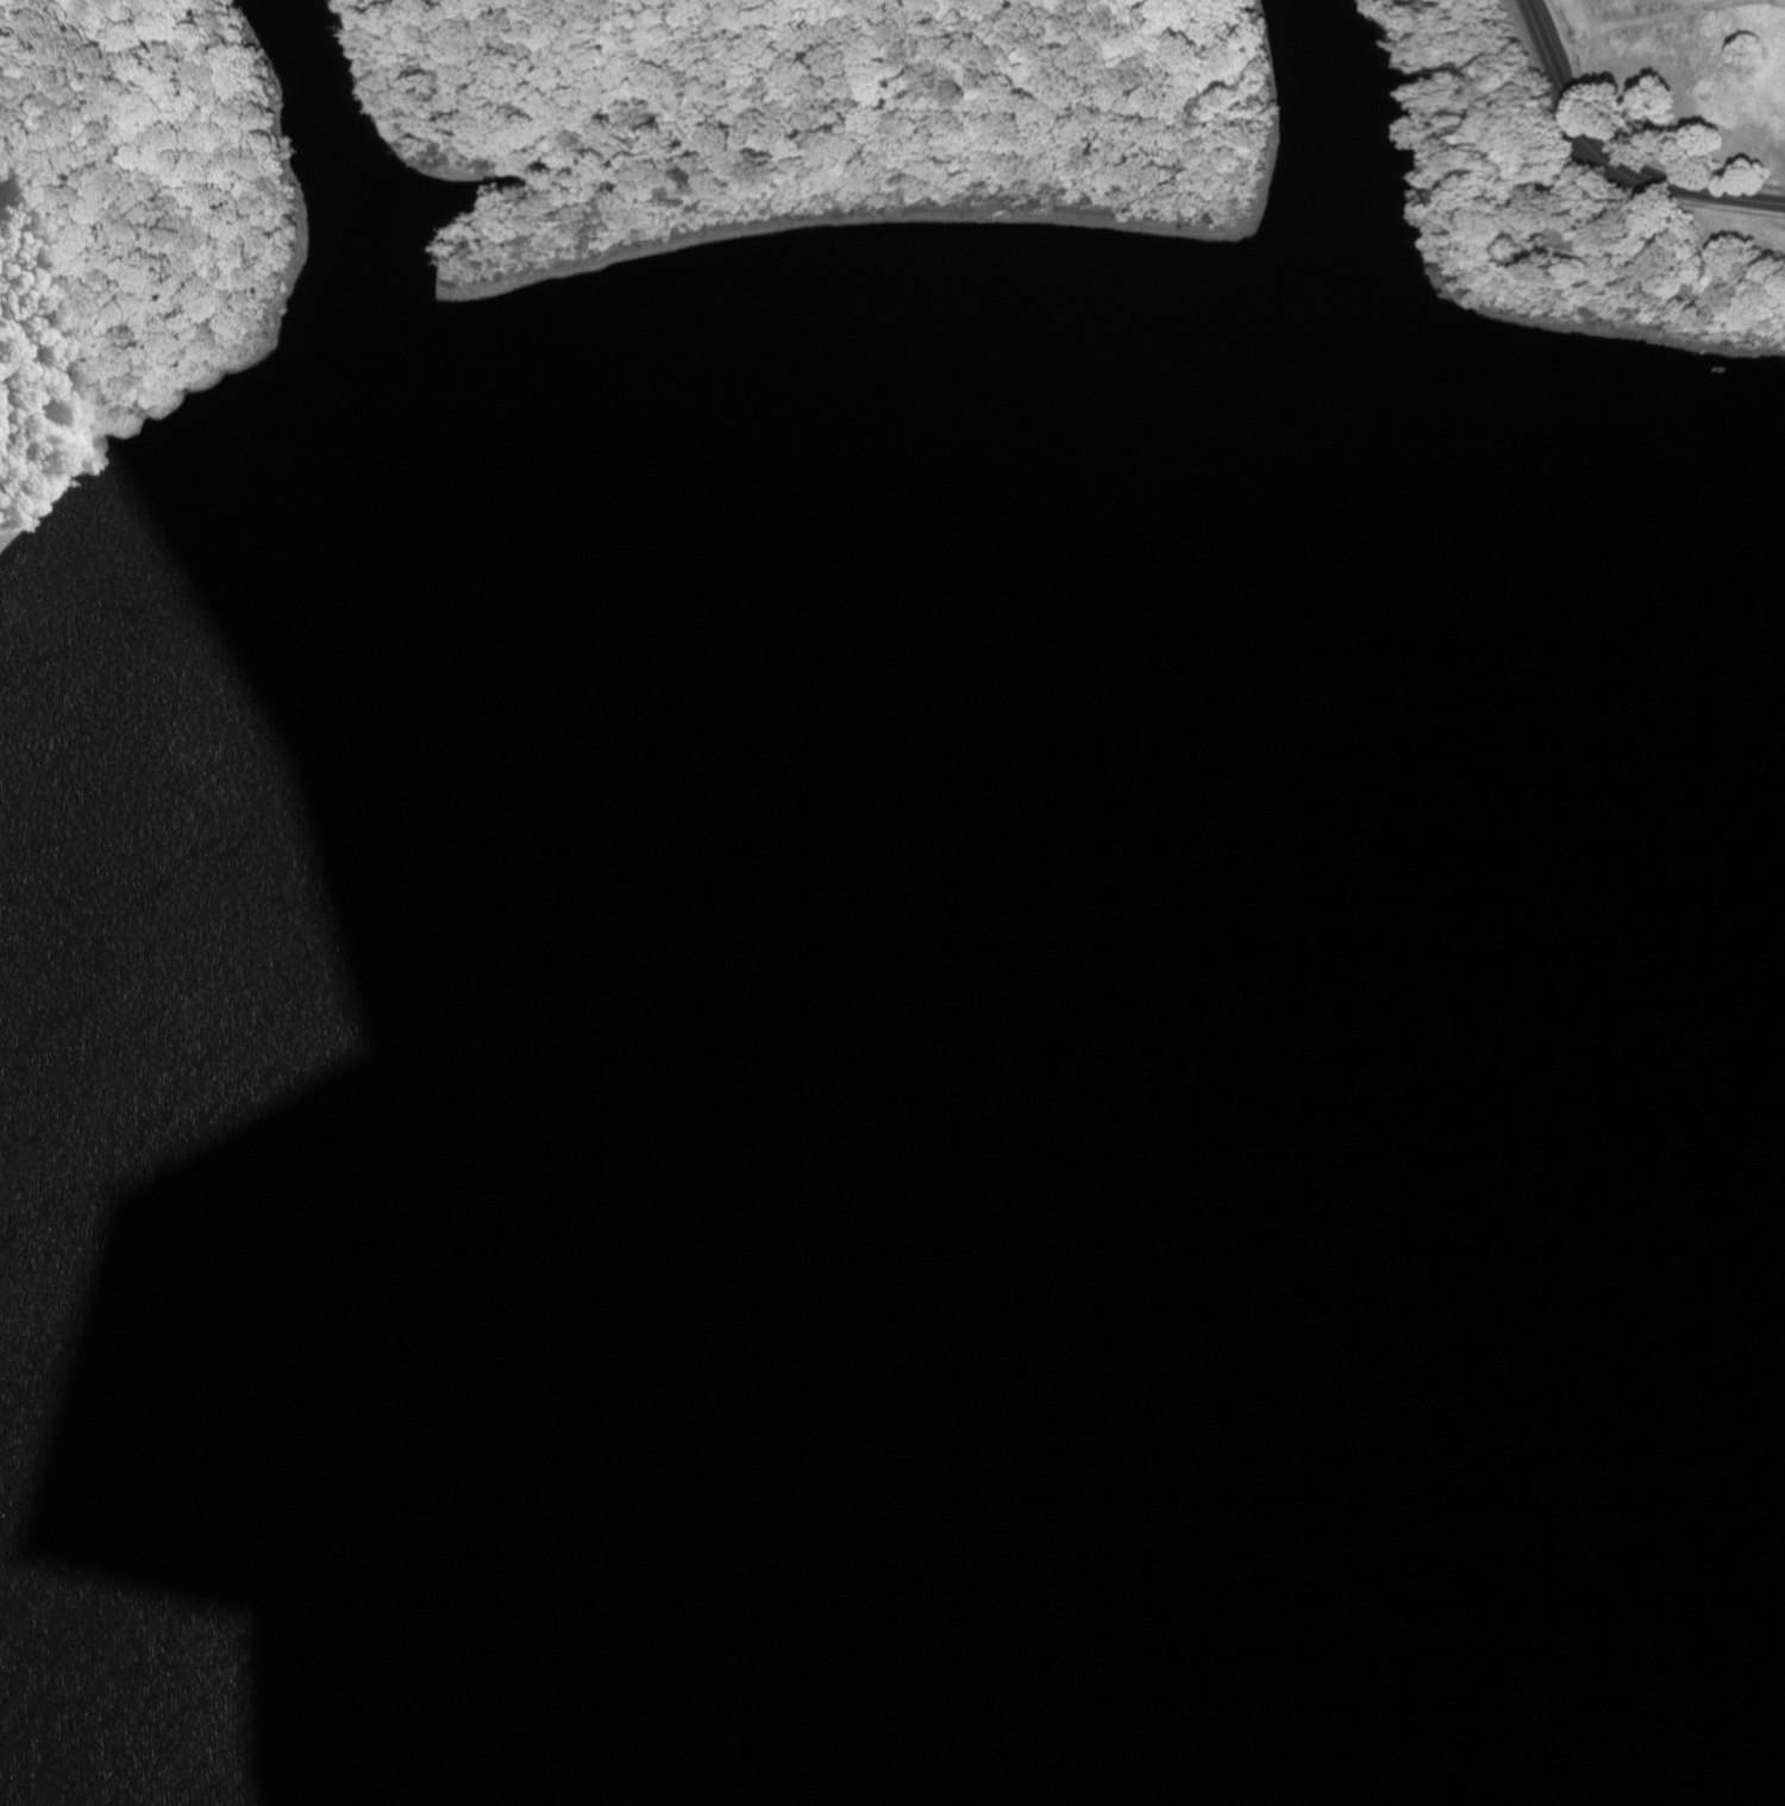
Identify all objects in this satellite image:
park: (822, 113)
road: (1615, 157)
park: (1601, 158)
park: (133, 230)

